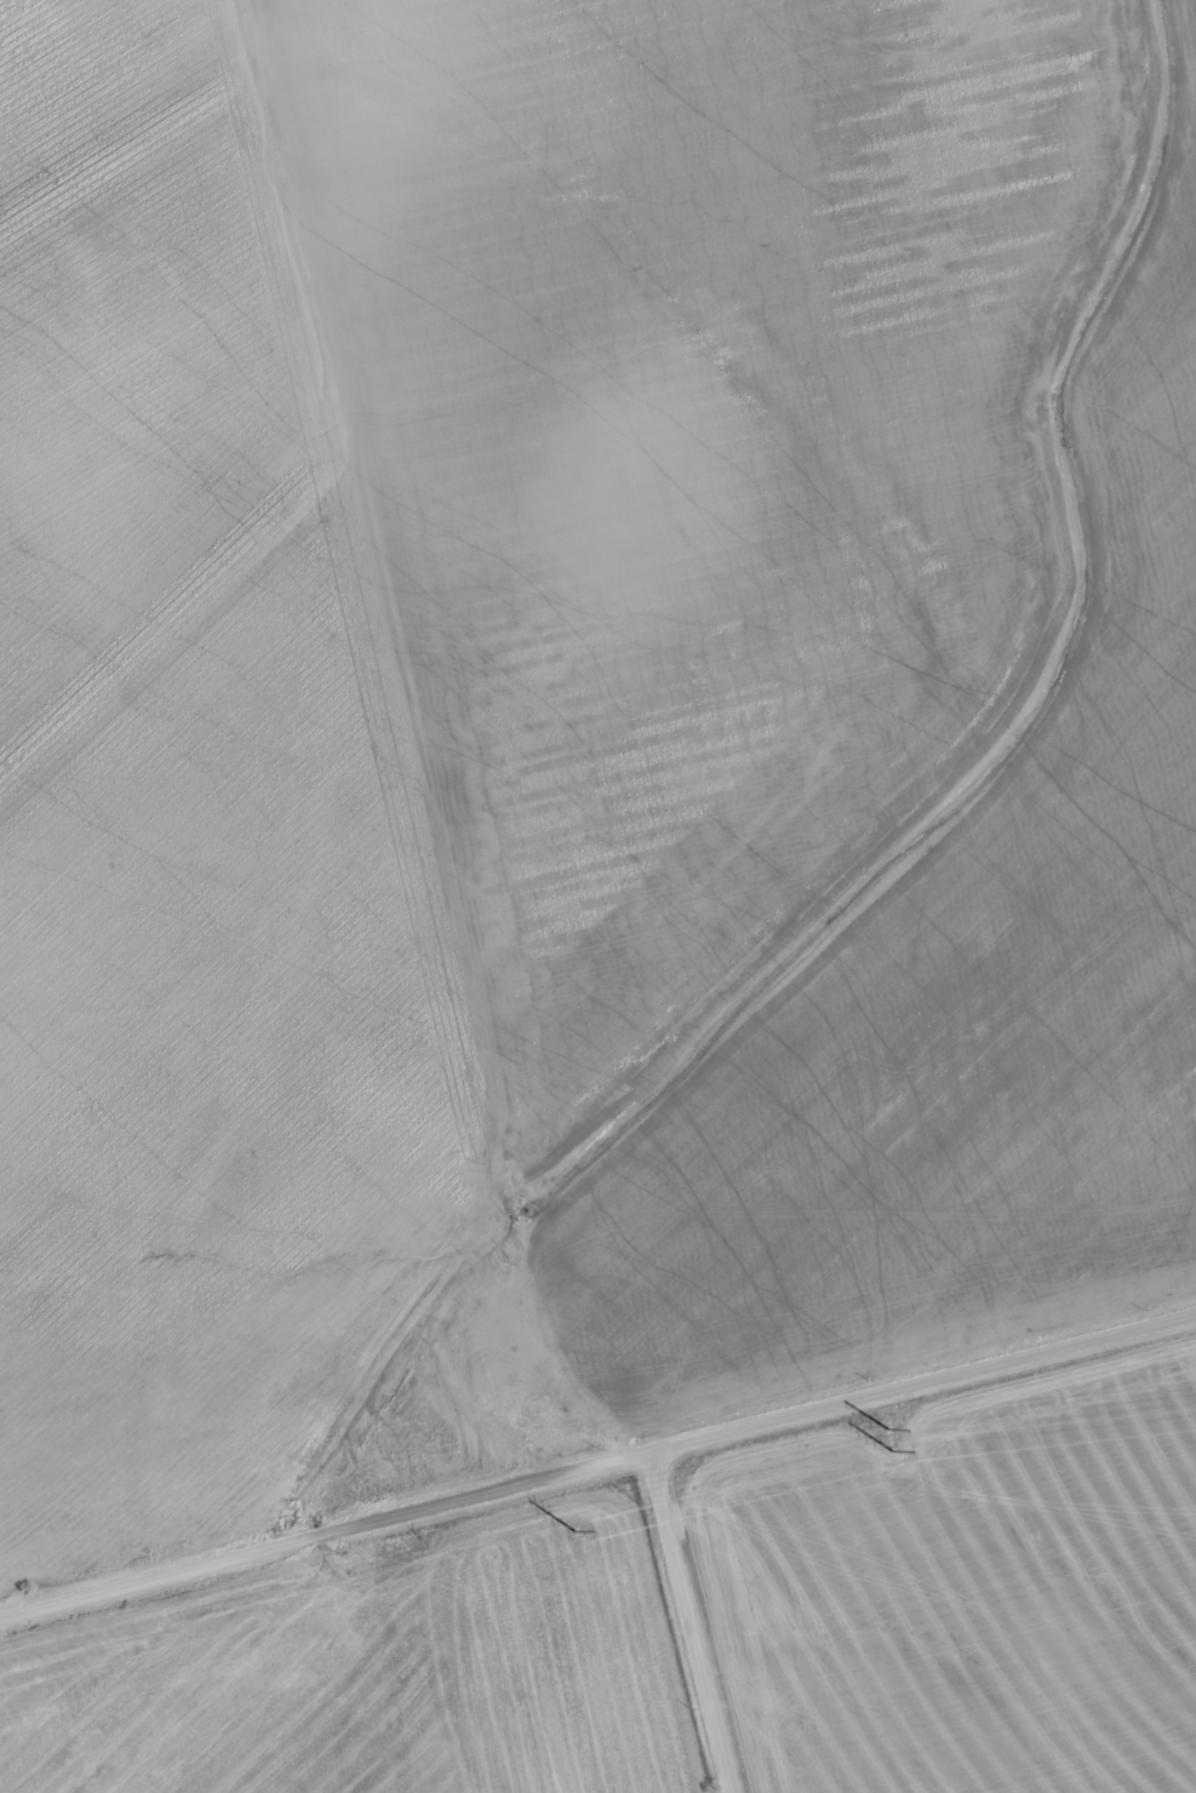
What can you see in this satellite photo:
power tower: (893, 1440)
road: (597, 1490)
power tower: (578, 1533)
road: (721, 1631)

